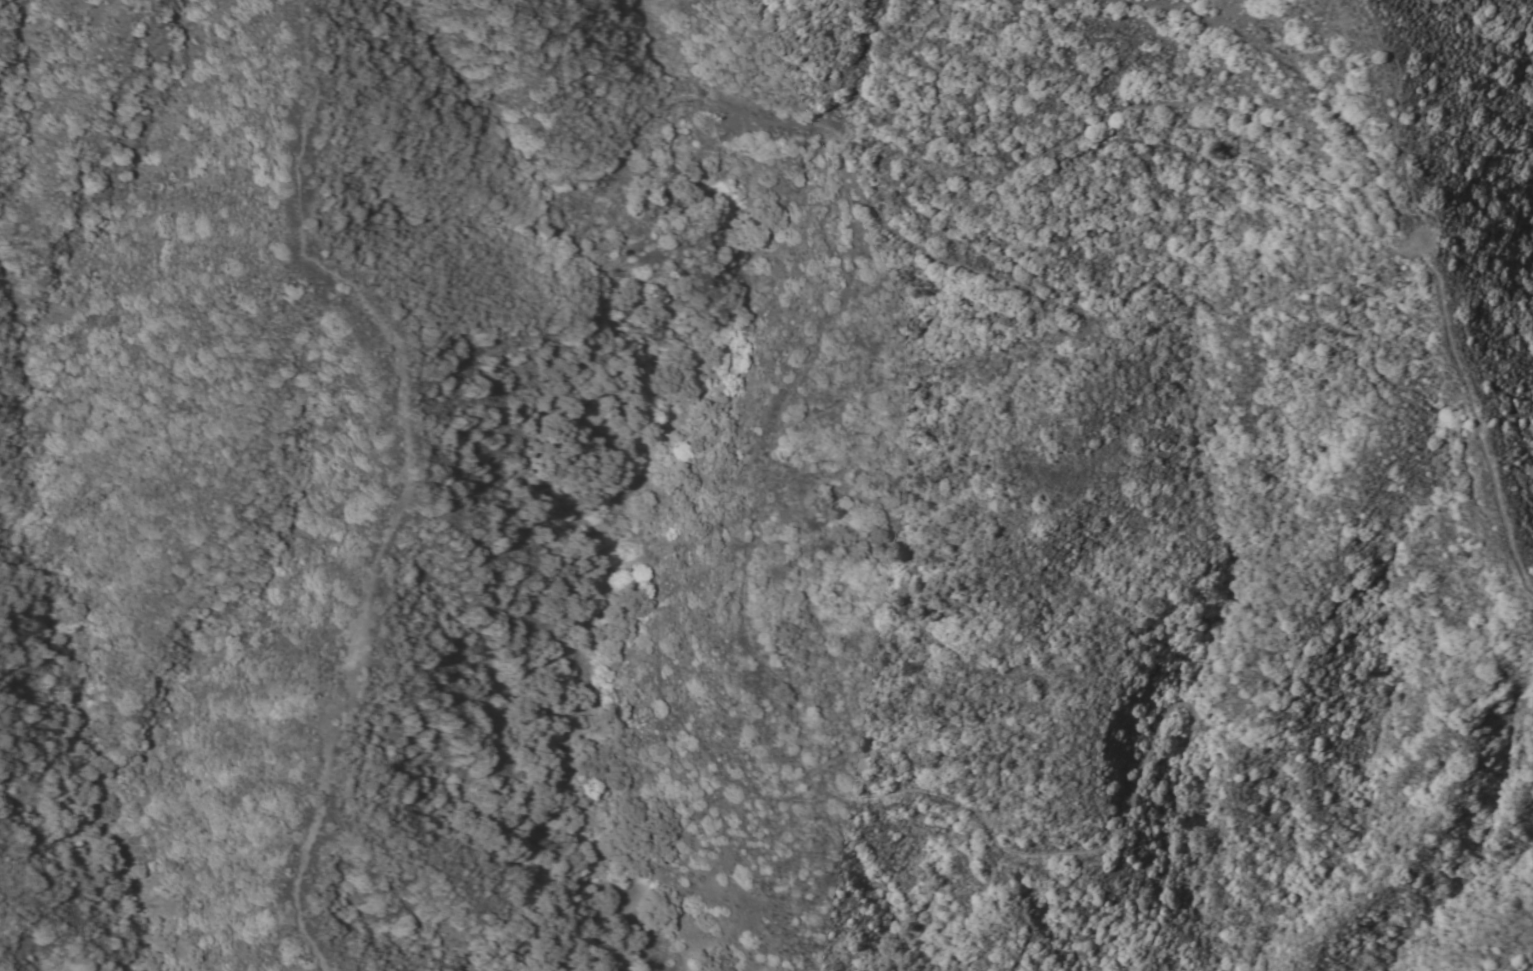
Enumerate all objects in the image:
park: (1486, 144)
road: (865, 796)
park: (1405, 813)
road: (646, 969)

